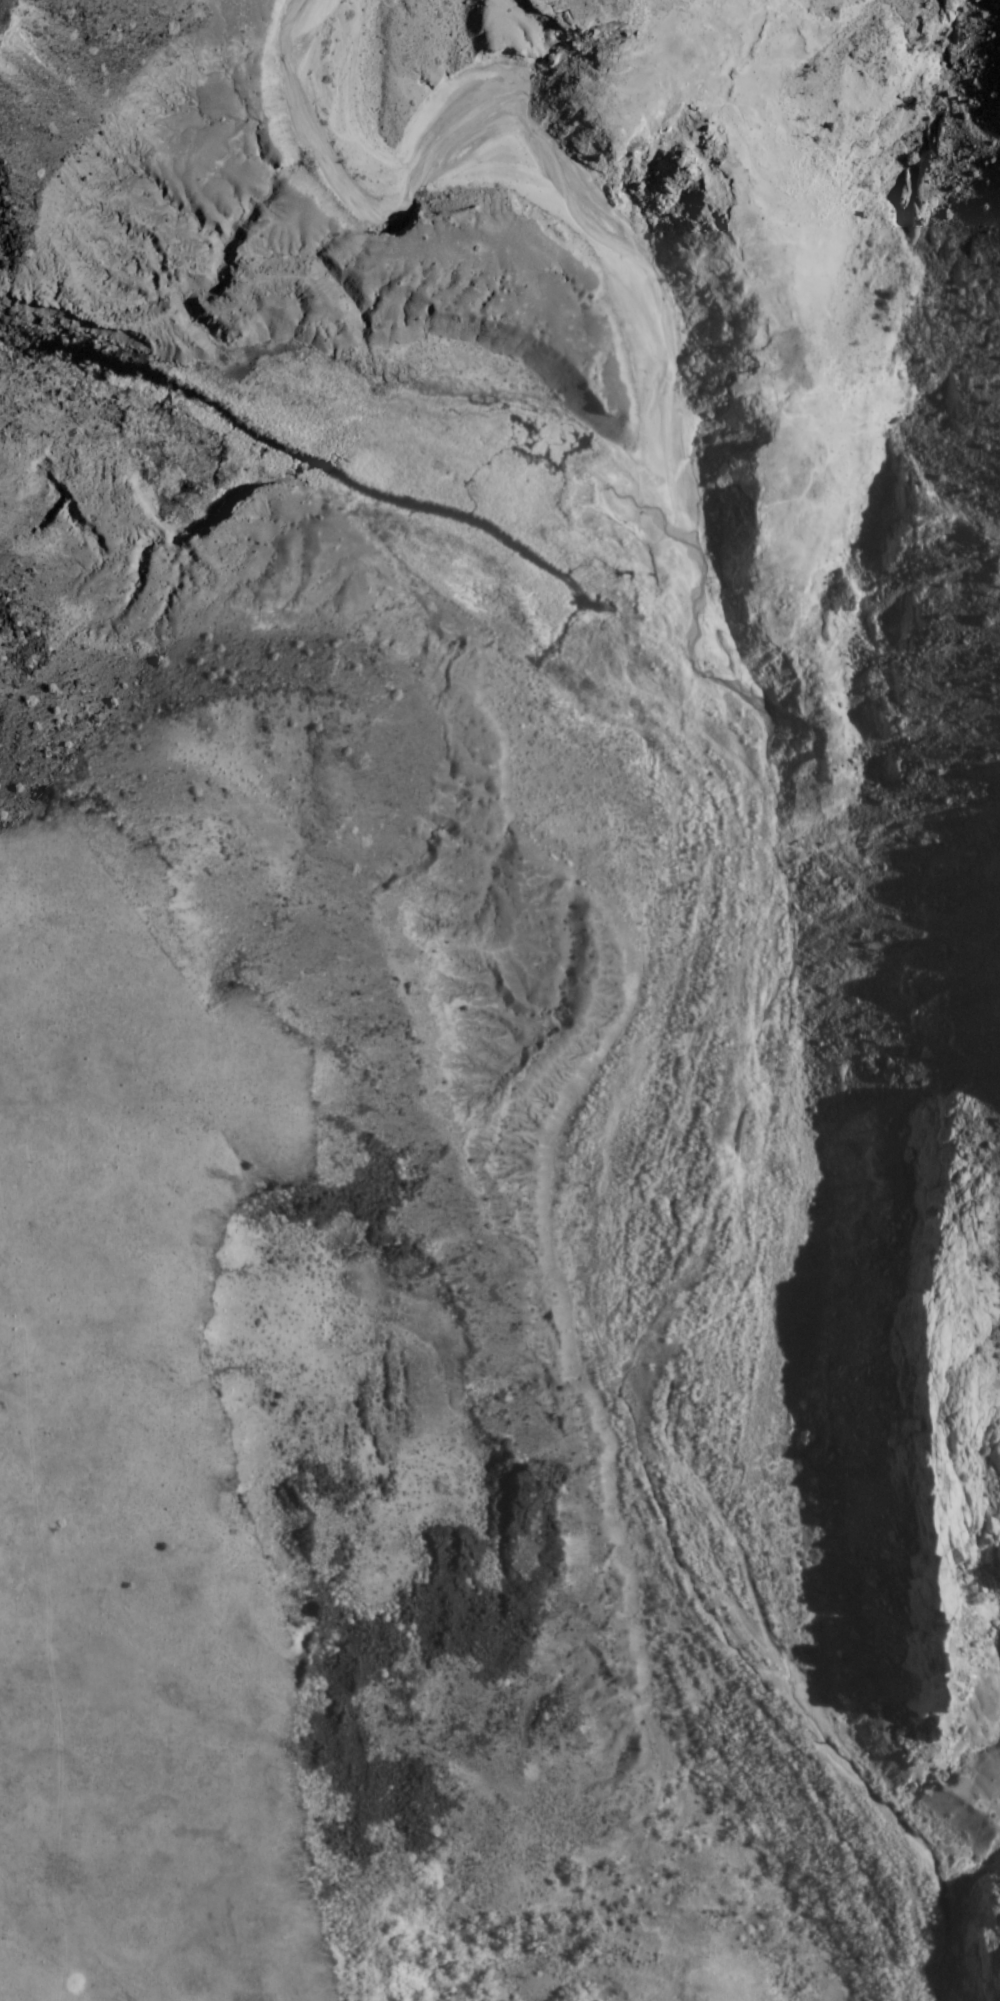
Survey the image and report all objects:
river: (739, 987)

